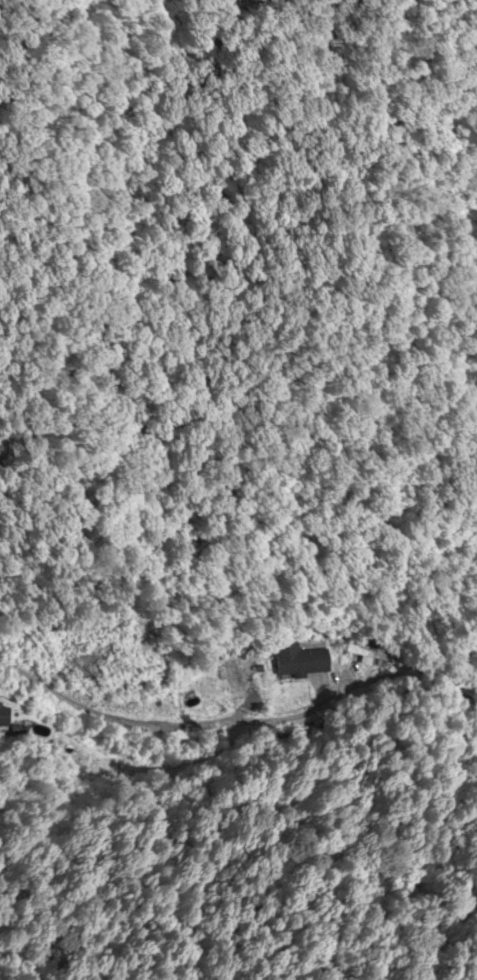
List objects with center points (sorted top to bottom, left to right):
building: (368, 653)
building: (300, 660)
road: (208, 667)
building: (232, 673)
road: (447, 688)
building: (1, 714)

